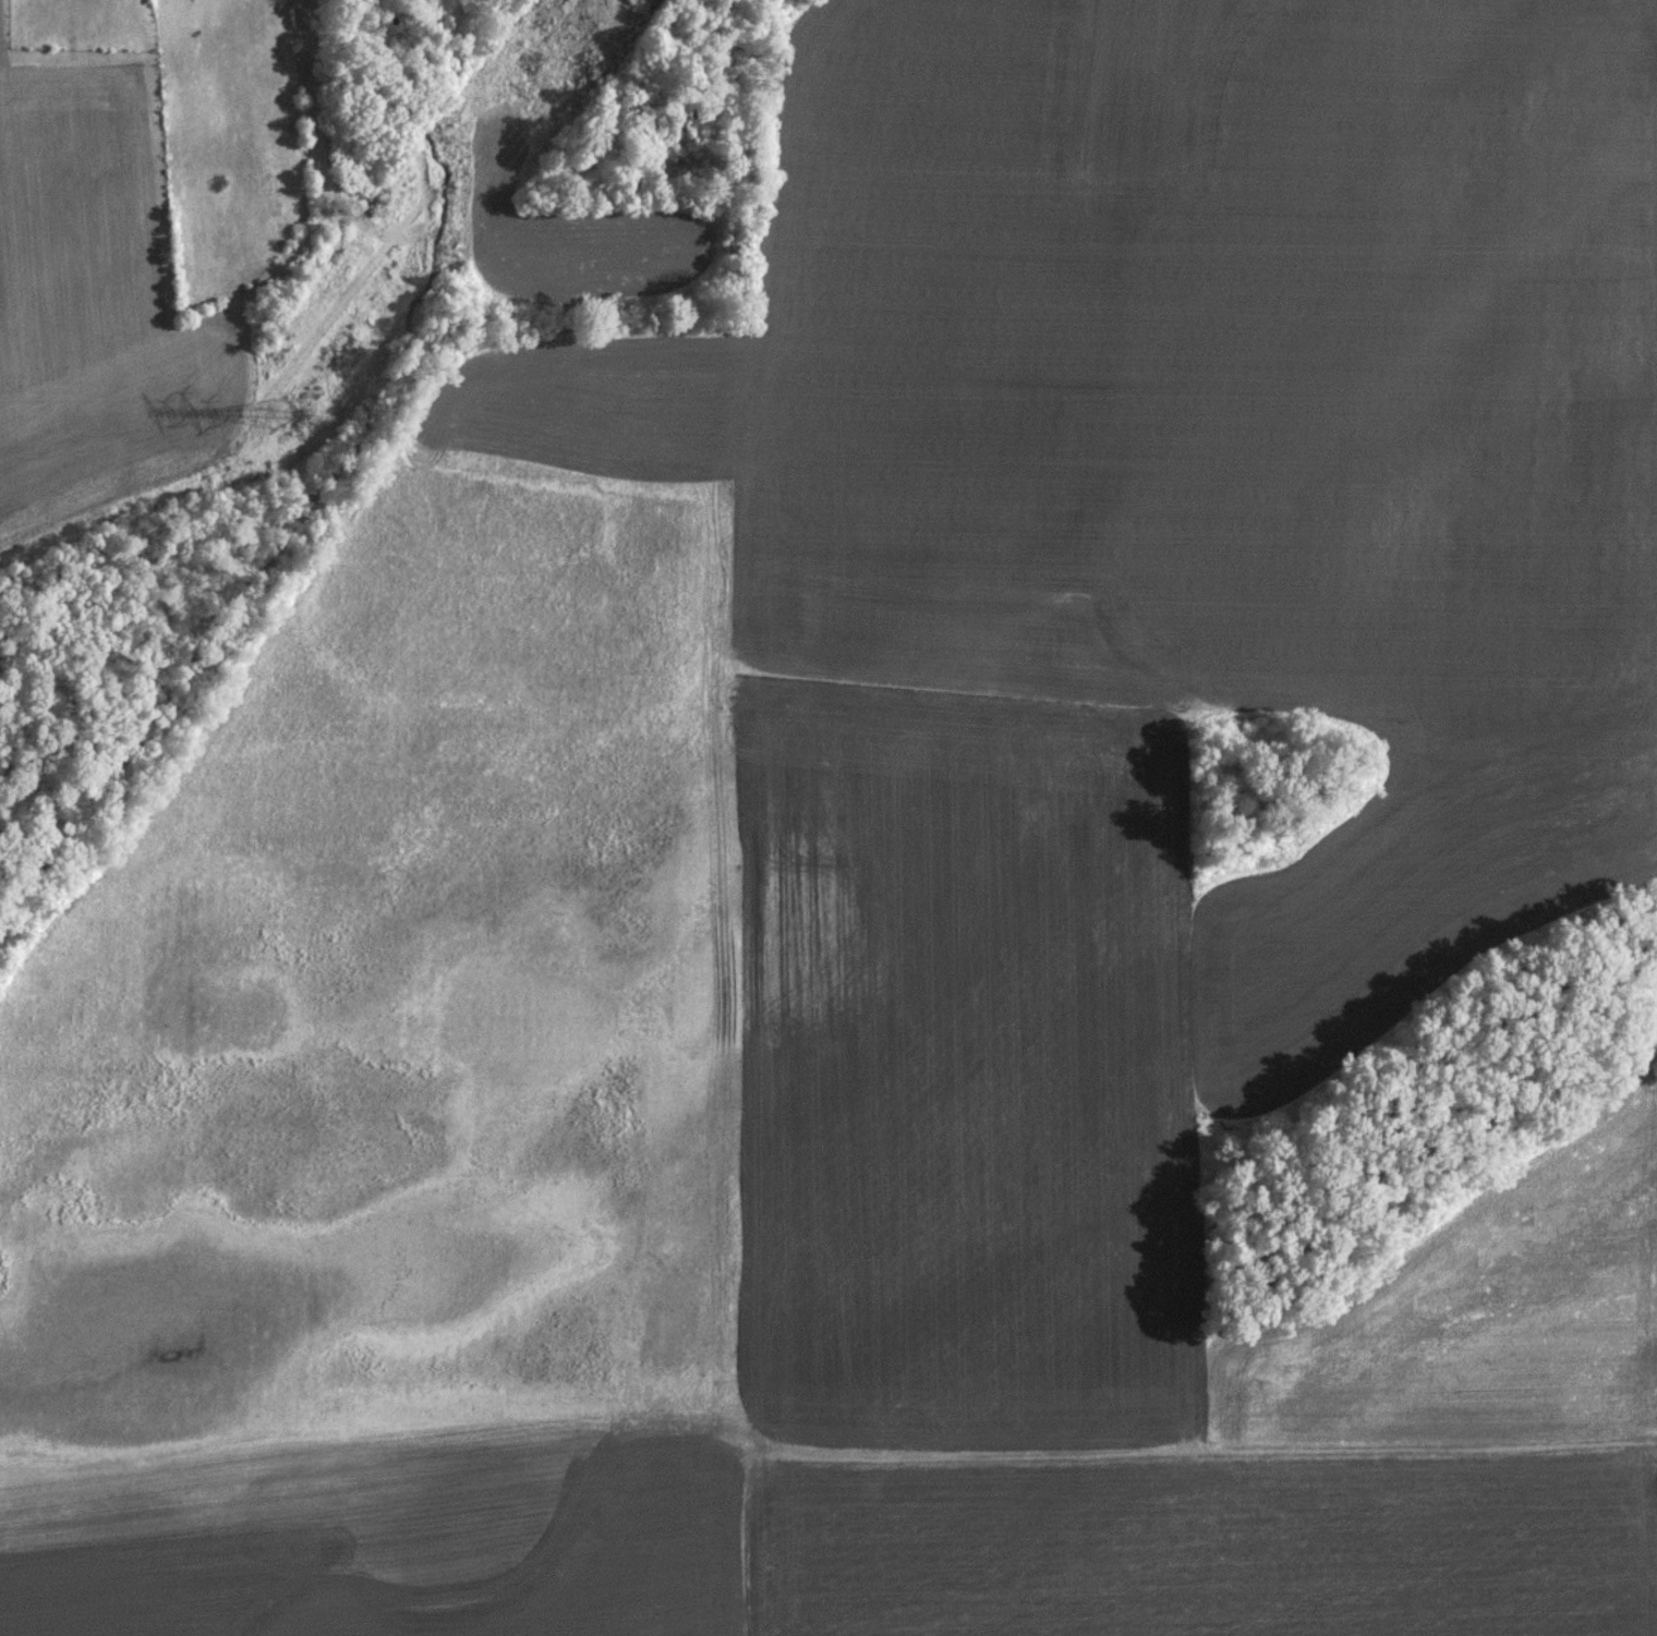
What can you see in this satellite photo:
power tower: (283, 412)

